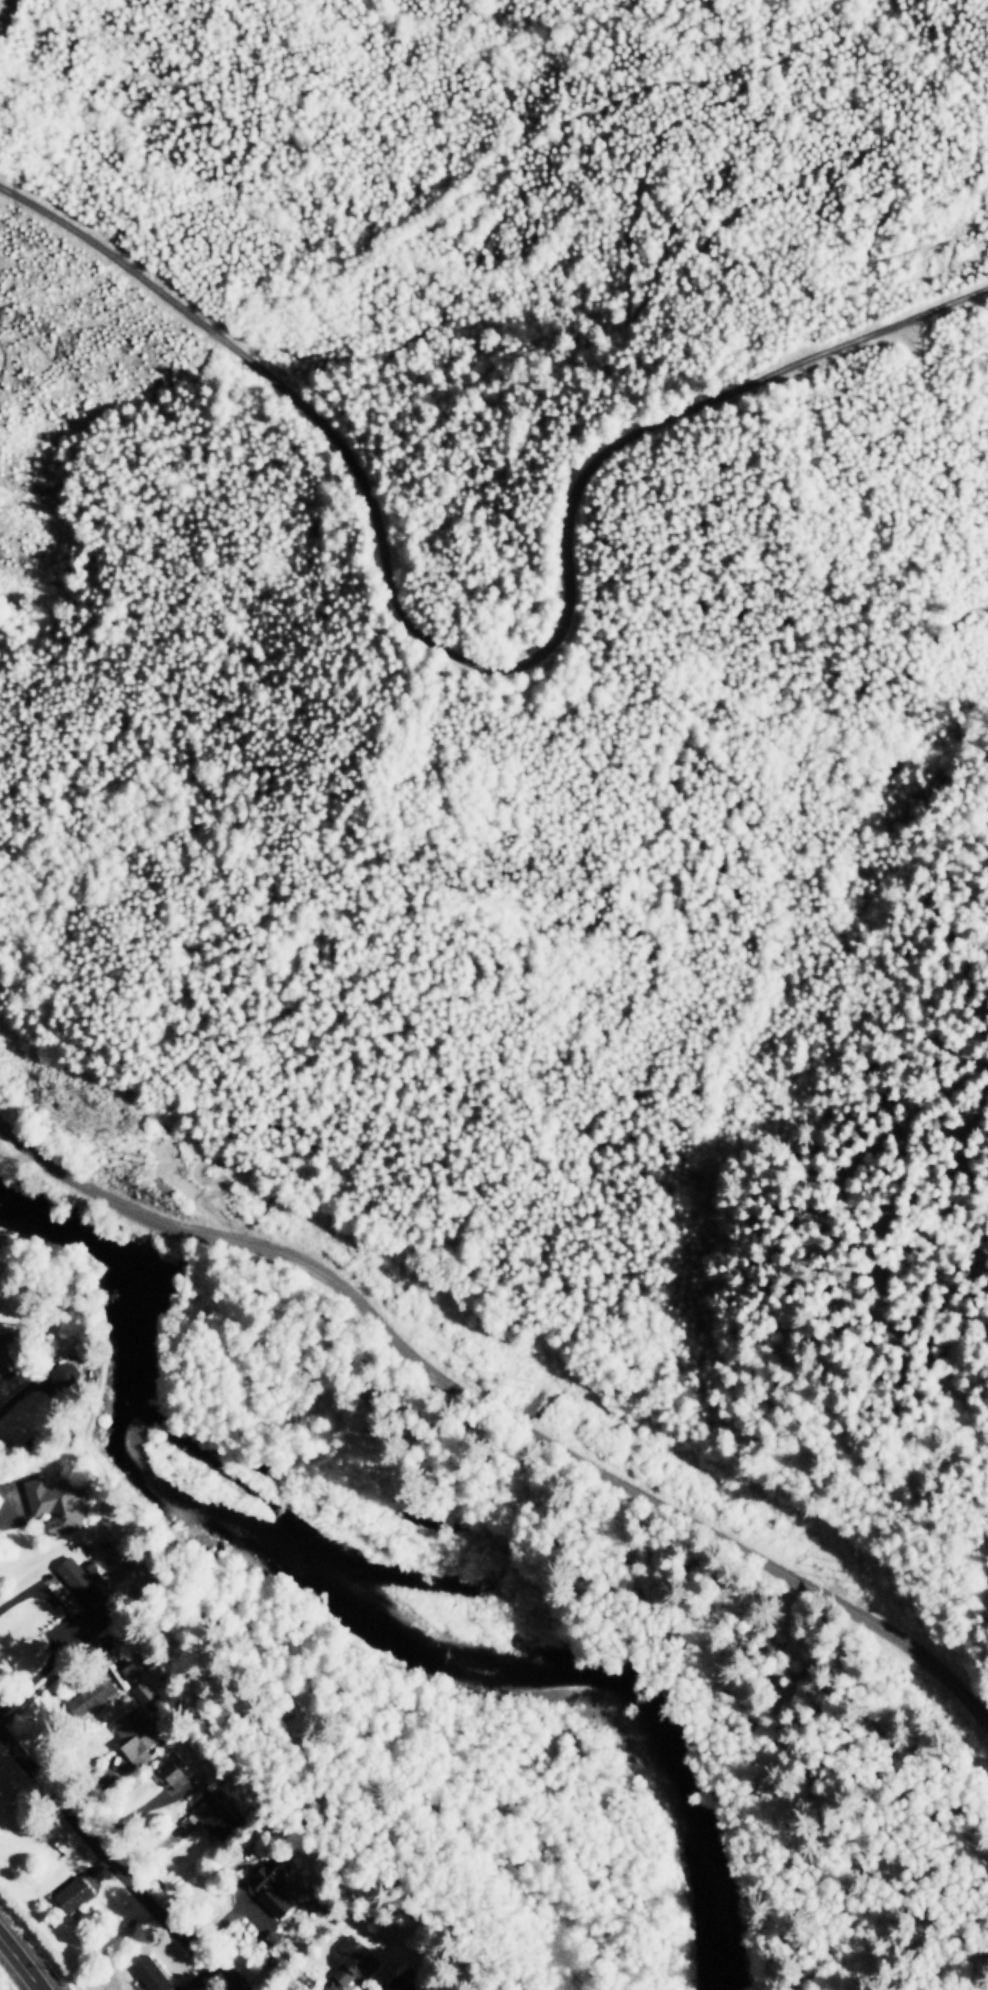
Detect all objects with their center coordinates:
road: (3, 5)
road: (774, 75)
road: (3, 362)
road: (478, 674)
road: (350, 883)
road: (411, 1026)
building: (7, 1352)
building: (63, 1374)
road: (34, 1394)
road: (501, 1410)
building: (53, 1502)
river: (369, 1584)
building: (138, 1680)
building: (90, 1694)
building: (134, 1735)
building: (168, 1770)
building: (210, 1813)
road: (115, 1862)
building: (270, 1884)
building: (71, 1893)
building: (350, 1959)
road: (19, 1964)
building: (151, 1973)
building: (288, 1984)
building: (401, 1986)

